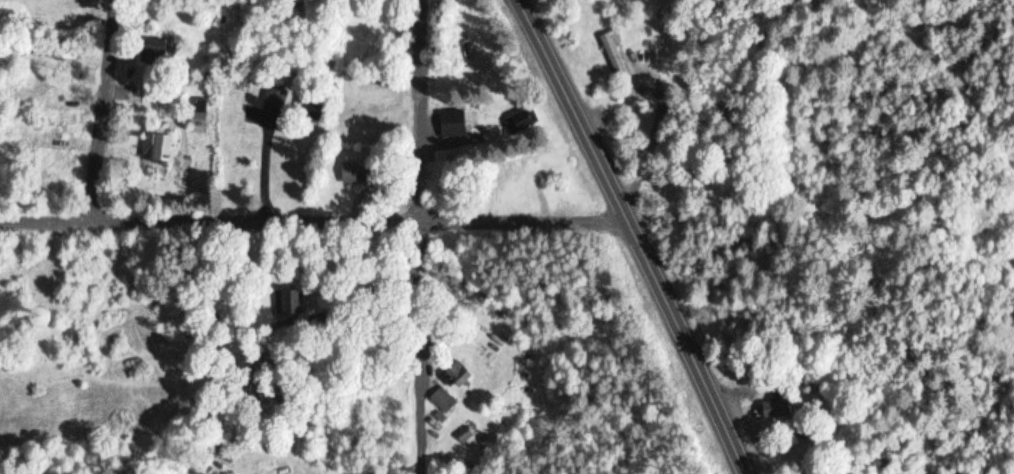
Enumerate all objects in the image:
building: (161, 48)
building: (615, 53)
building: (280, 93)
road: (105, 109)
building: (200, 114)
building: (454, 120)
building: (522, 122)
building: (372, 125)
building: (154, 168)
building: (360, 173)
road: (320, 224)
road: (642, 231)
road: (428, 237)
building: (288, 301)
building: (60, 314)
building: (457, 375)
building: (444, 399)
building: (779, 406)
building: (465, 433)

